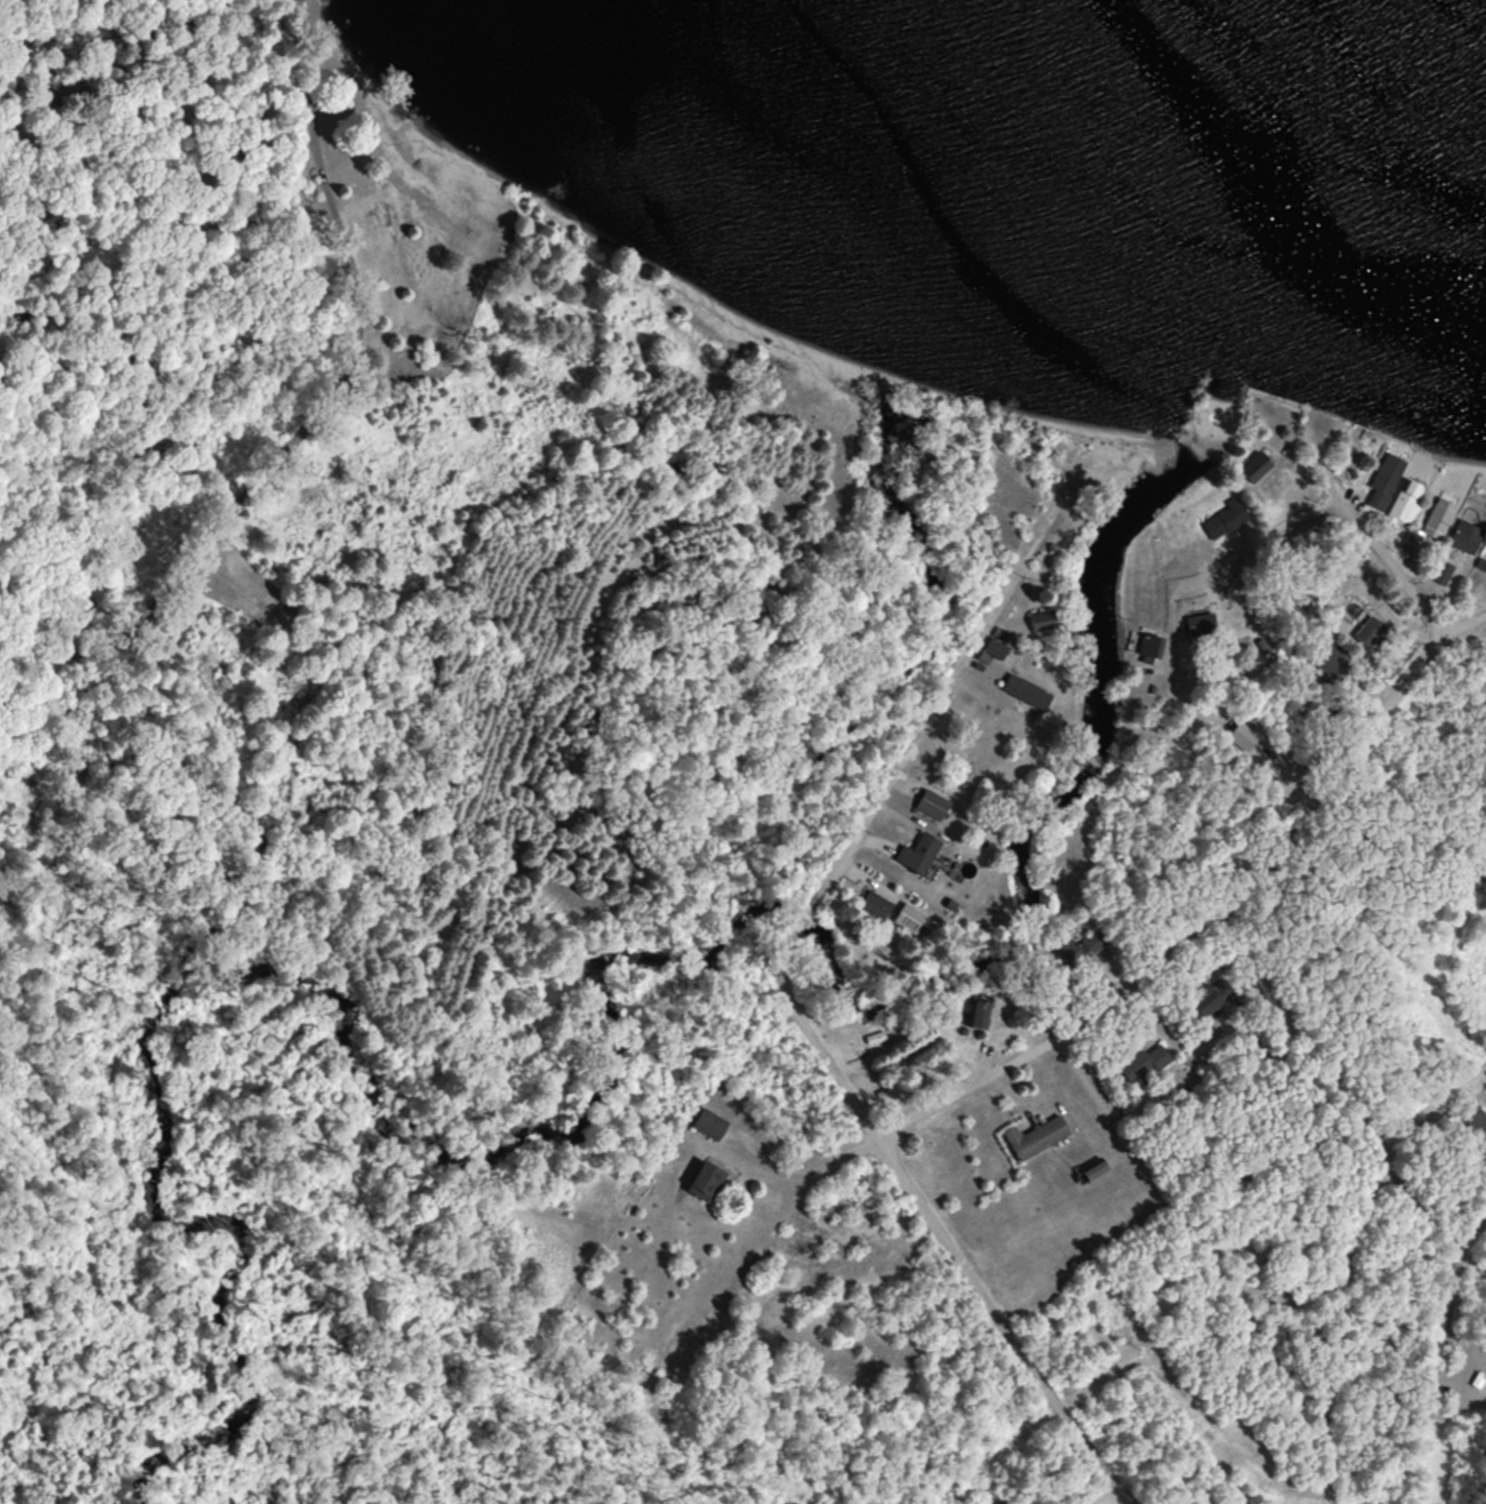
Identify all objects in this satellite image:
building: (1255, 466)
building: (1386, 479)
building: (1407, 504)
road: (1327, 505)
building: (1226, 519)
building: (1435, 522)
building: (1467, 537)
building: (1443, 573)
building: (1042, 621)
building: (1201, 626)
building: (1370, 633)
building: (997, 644)
building: (1150, 649)
building: (1026, 692)
building: (1242, 735)
river: (1093, 772)
road: (884, 783)
building: (936, 802)
road: (1423, 818)
building: (923, 852)
building: (872, 909)
river: (803, 910)
building: (907, 918)
building: (1093, 943)
road: (1151, 955)
river: (232, 963)
building: (1208, 999)
building: (978, 1012)
building: (1145, 1066)
road: (1344, 1094)
building: (708, 1126)
building: (1478, 1126)
building: (1035, 1137)
building: (1092, 1171)
building: (702, 1182)
road: (1450, 1189)
road: (1181, 1227)
road: (997, 1321)
road: (1340, 1327)
road: (918, 1376)
road: (1101, 1495)

